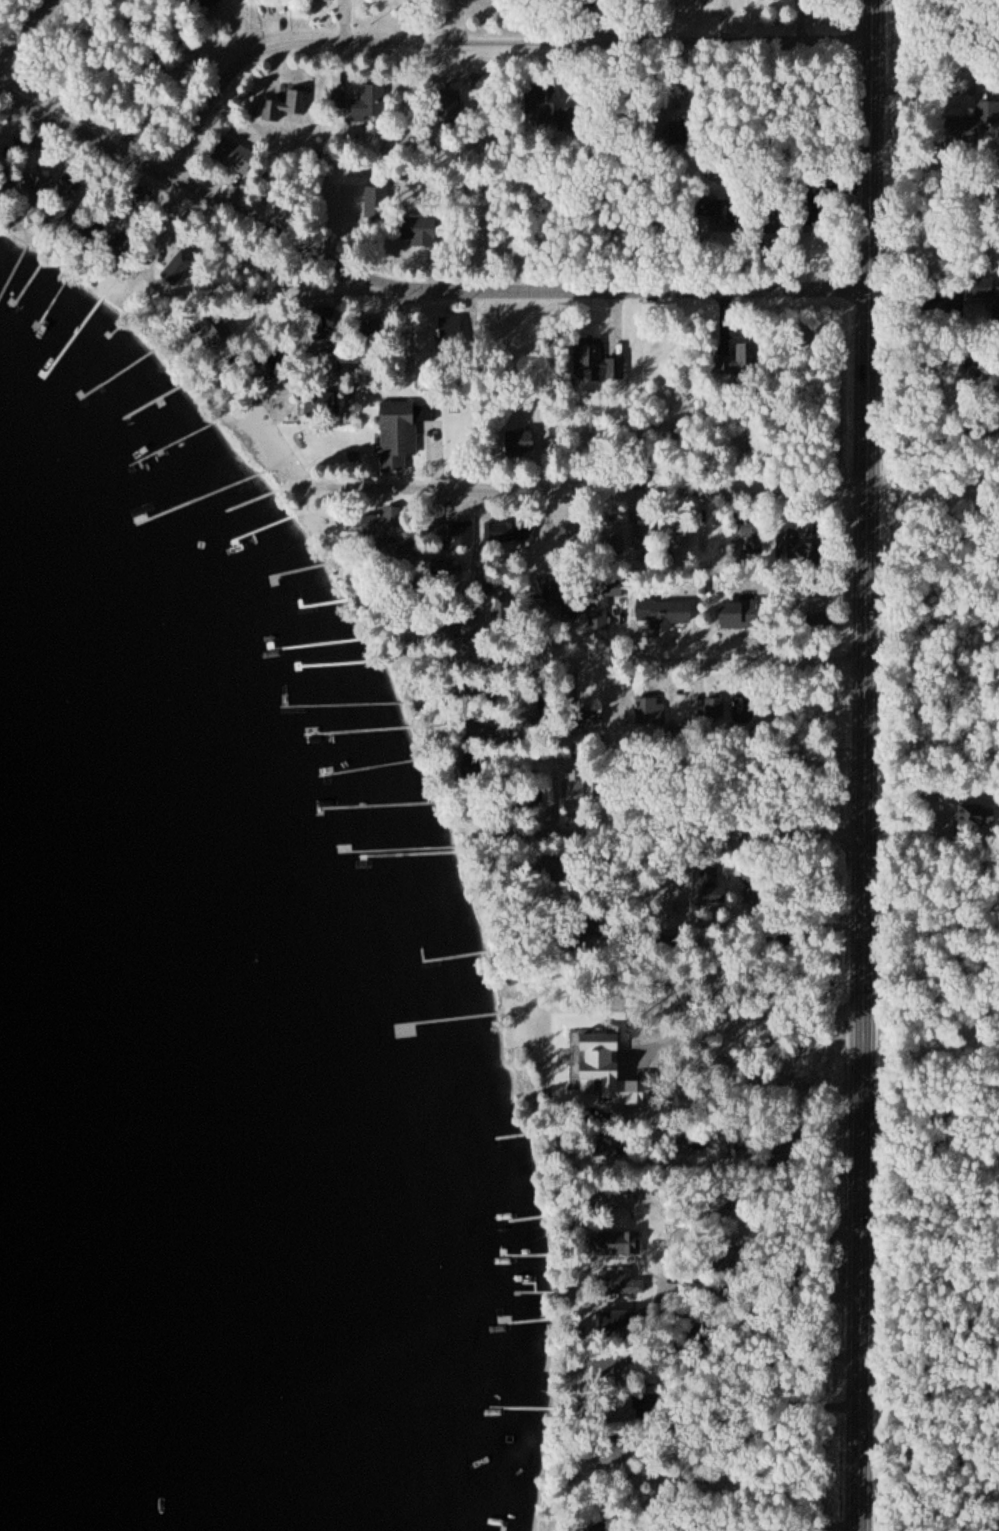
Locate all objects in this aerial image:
building: (209, 3)
road: (26, 33)
road: (486, 39)
building: (340, 98)
building: (448, 103)
building: (541, 103)
building: (289, 104)
building: (372, 104)
building: (971, 124)
building: (234, 153)
building: (5, 182)
road: (192, 183)
building: (34, 188)
building: (808, 197)
building: (725, 212)
building: (421, 230)
building: (180, 267)
road: (493, 285)
building: (985, 292)
building: (325, 315)
building: (215, 328)
building: (452, 334)
building: (744, 355)
building: (594, 362)
building: (984, 370)
building: (321, 405)
building: (402, 432)
building: (521, 443)
road: (591, 488)
building: (384, 522)
building: (509, 530)
building: (463, 532)
building: (438, 533)
building: (646, 535)
building: (756, 542)
building: (807, 543)
building: (406, 553)
building: (603, 601)
building: (666, 611)
building: (735, 619)
building: (440, 628)
road: (637, 660)
building: (716, 707)
road: (866, 765)
building: (979, 817)
road: (676, 833)
building: (712, 886)
building: (610, 1147)
building: (687, 1149)
building: (615, 1242)
building: (619, 1282)
building: (696, 1284)
building: (619, 1324)
building: (612, 1367)
building: (605, 1409)
building: (614, 1451)
building: (592, 1528)

